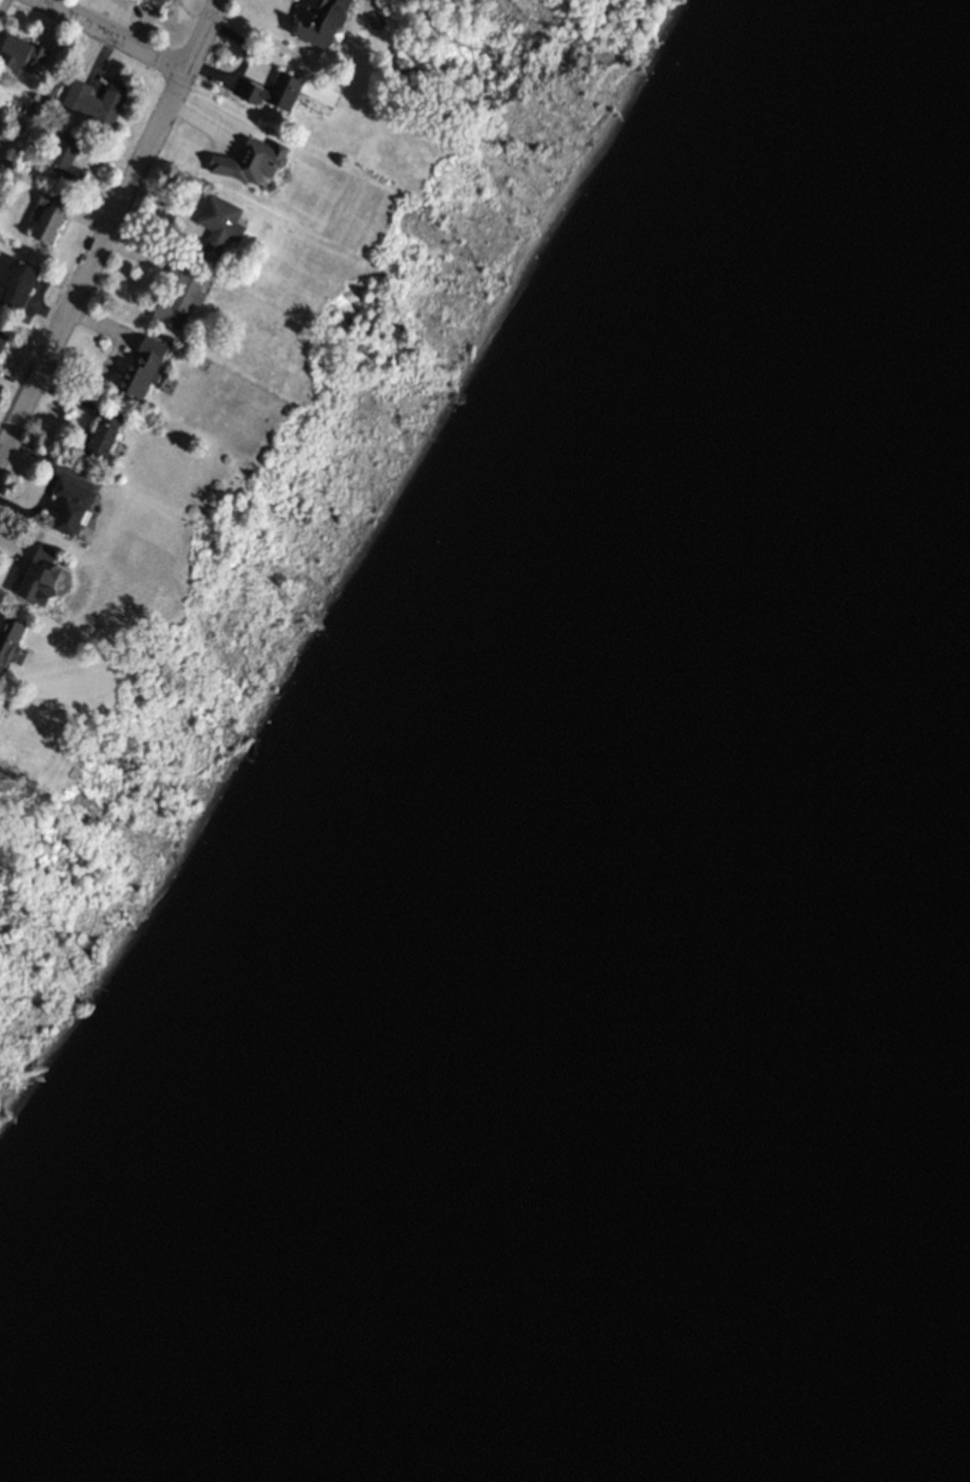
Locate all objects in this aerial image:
building: (158, 1)
building: (322, 22)
road: (115, 33)
building: (22, 54)
road: (243, 63)
building: (289, 92)
building: (95, 101)
building: (68, 158)
building: (50, 216)
road: (108, 223)
building: (220, 227)
building: (17, 284)
building: (180, 296)
building: (2, 337)
building: (143, 367)
building: (105, 434)
building: (73, 507)
building: (44, 578)
building: (8, 642)

